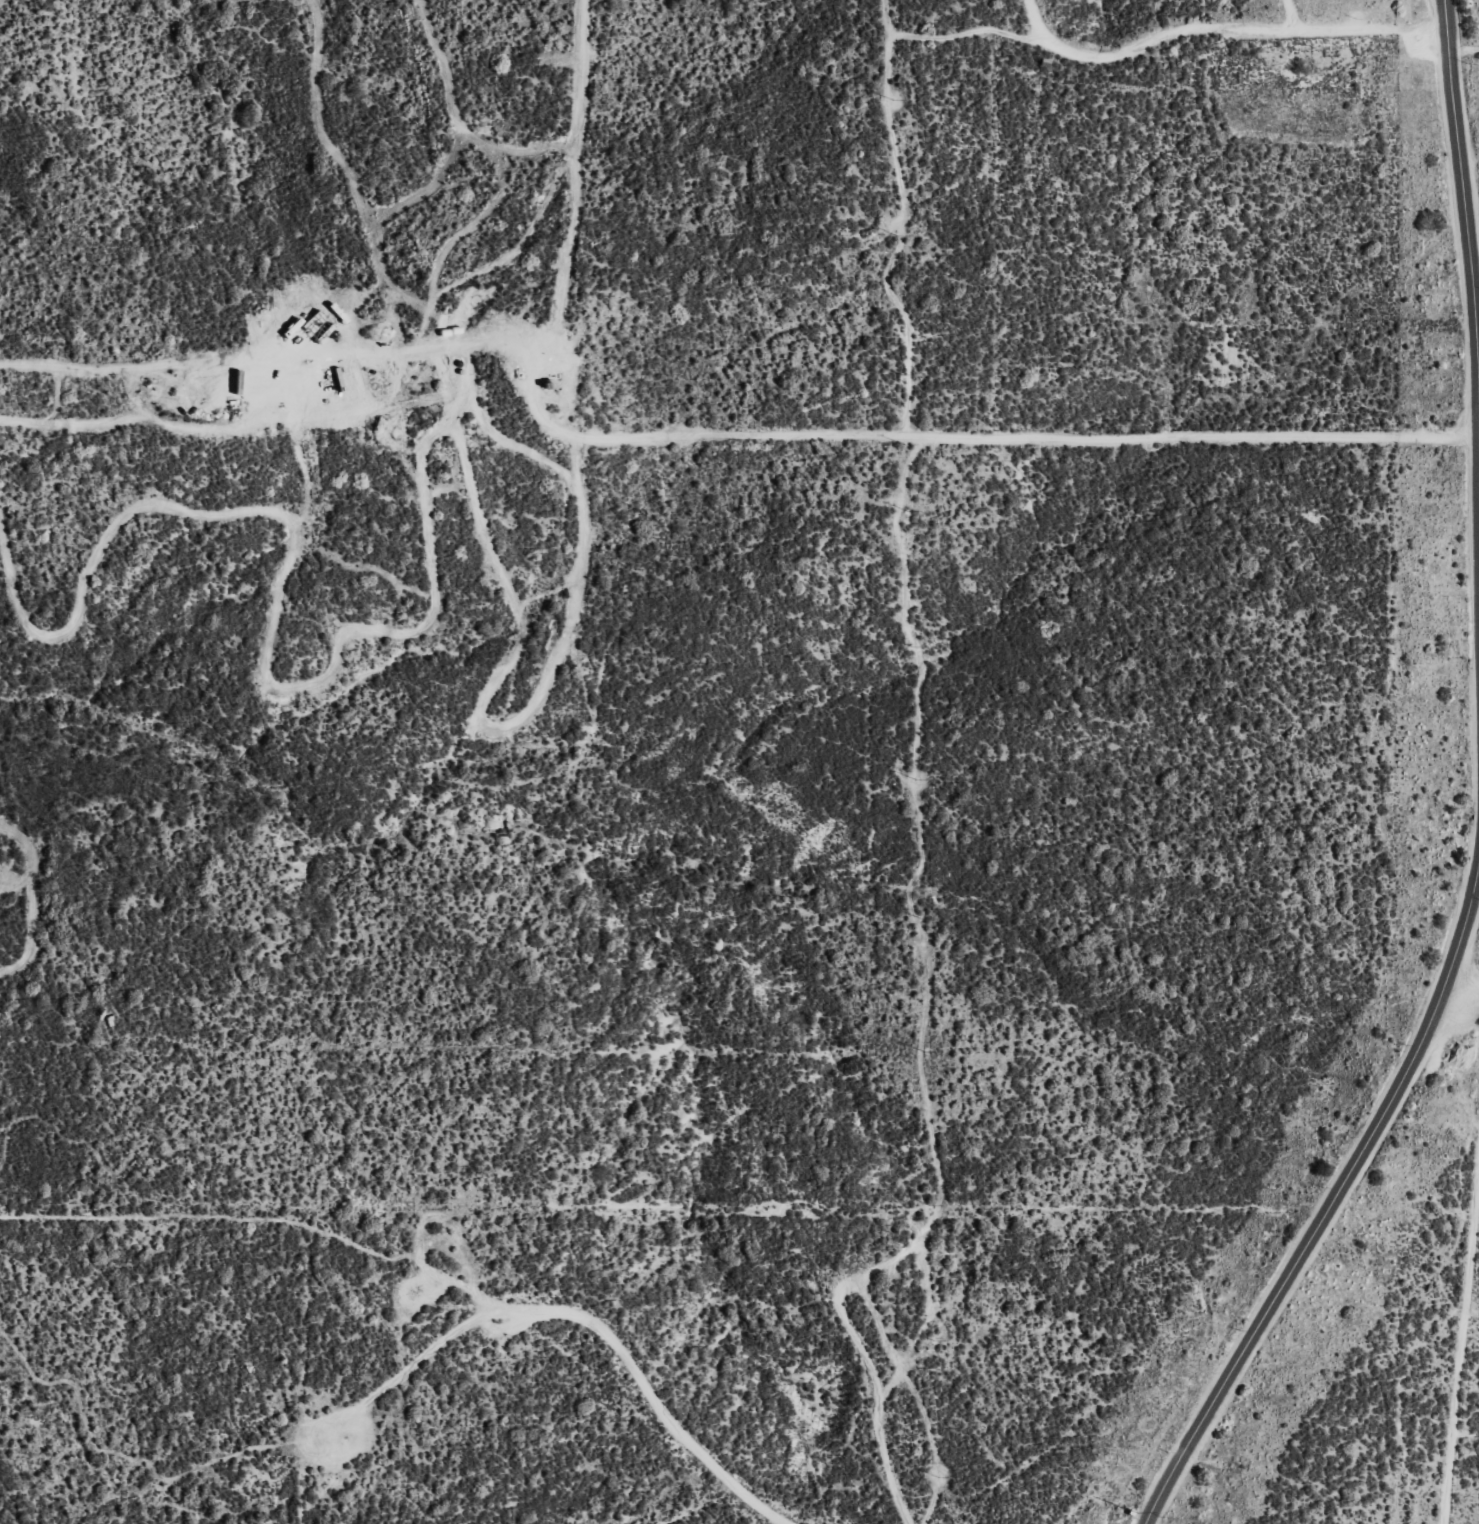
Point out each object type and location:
road: (1376, 13)
road: (1462, 281)
road: (1335, 1203)

